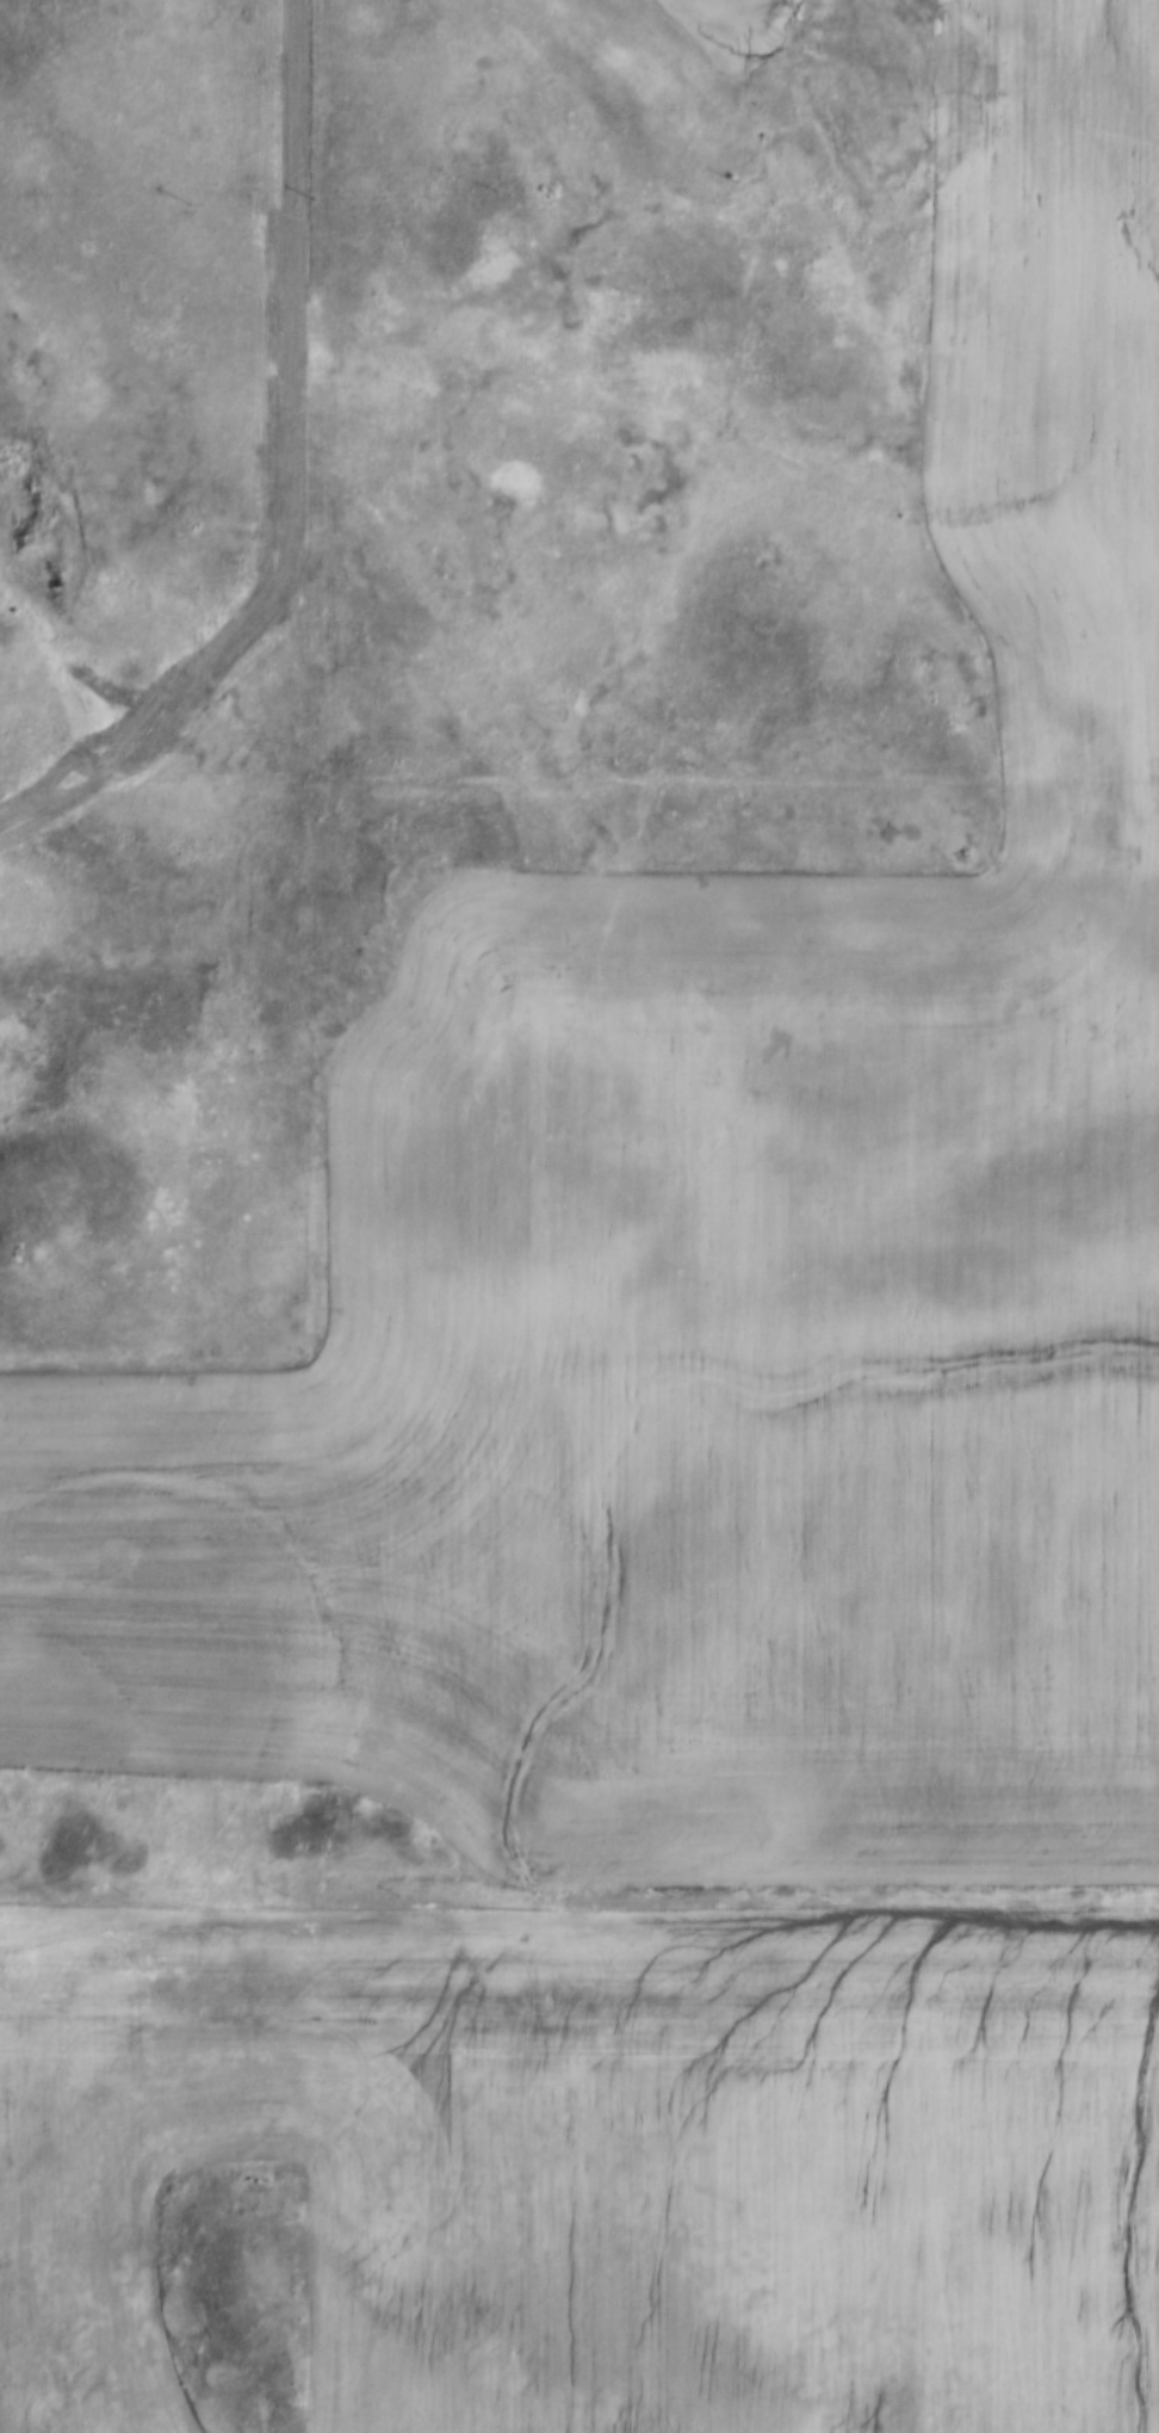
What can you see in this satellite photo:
road: (755, 30)

